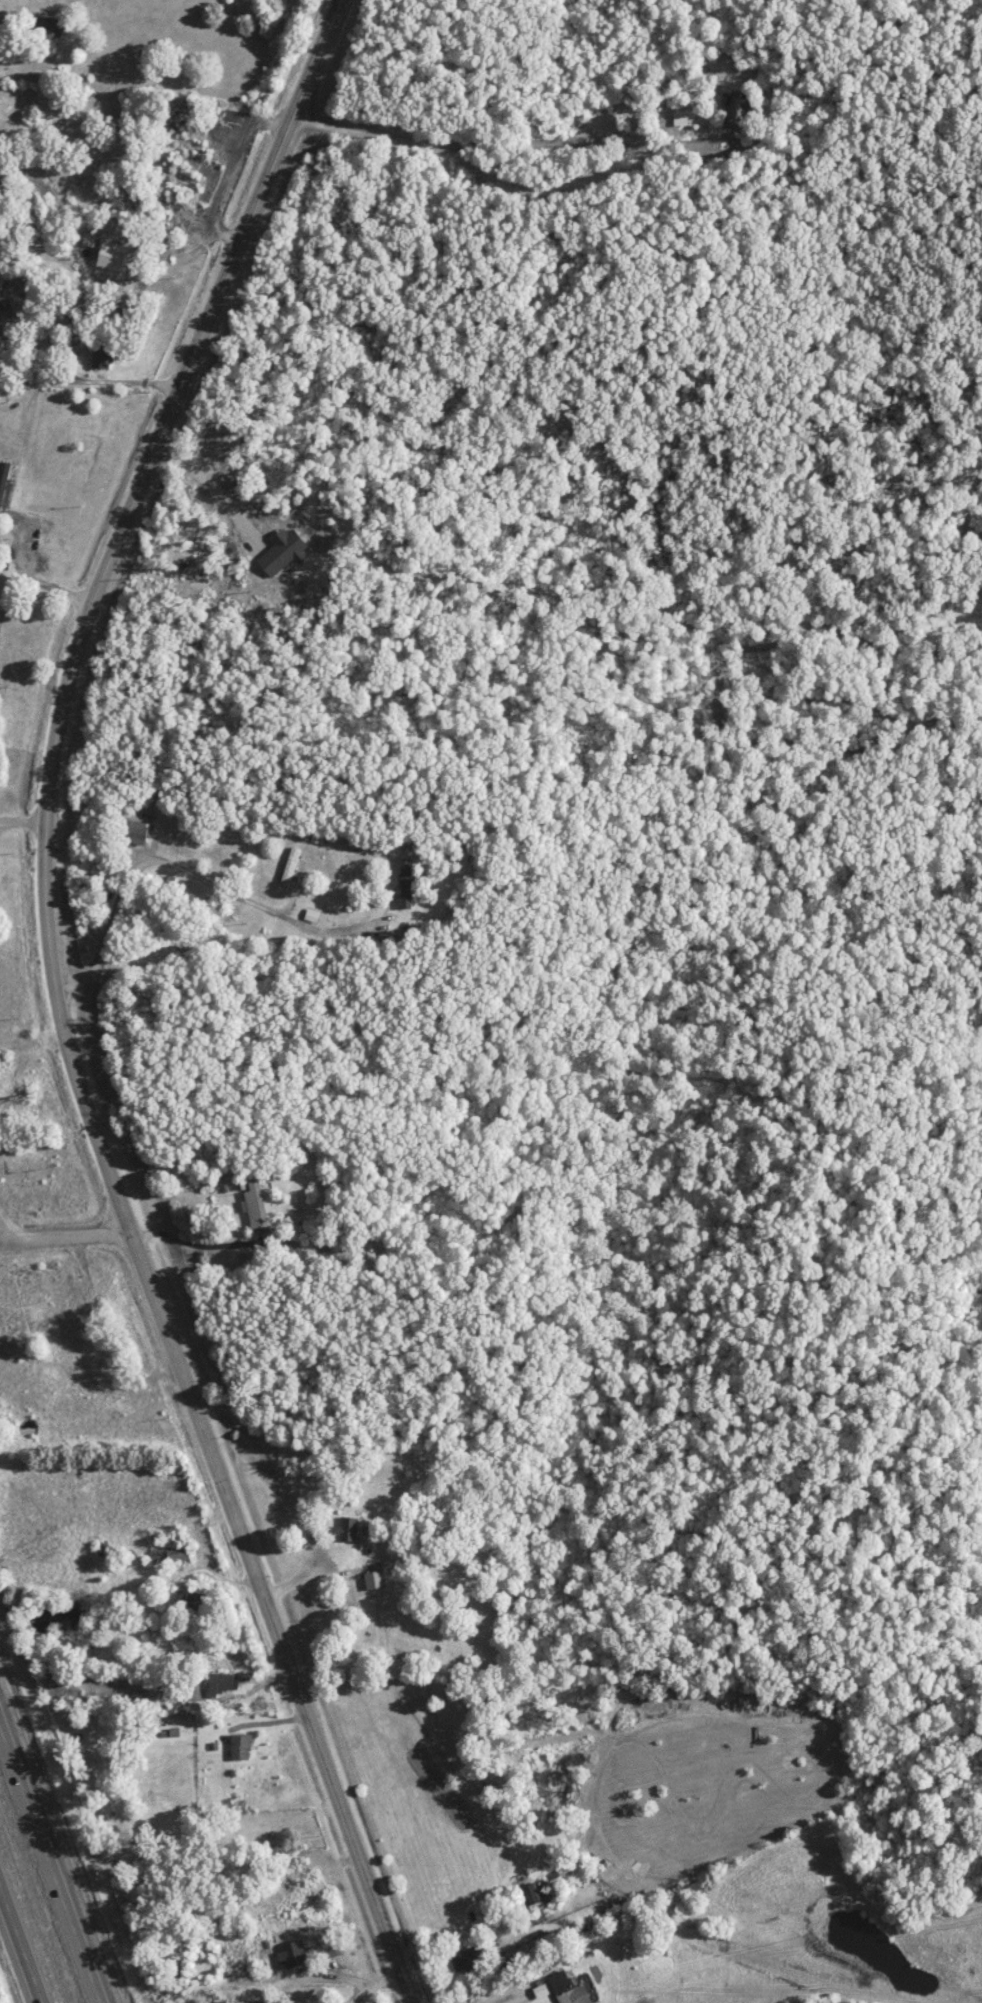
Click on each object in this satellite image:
building: (47, 26)
building: (681, 119)
building: (335, 222)
building: (104, 358)
road: (201, 484)
road: (39, 587)
building: (130, 833)
road: (173, 869)
building: (288, 871)
road: (56, 1004)
building: (253, 1204)
road: (55, 1228)
building: (346, 1529)
building: (168, 1555)
road: (307, 1577)
building: (372, 1580)
building: (221, 1686)
building: (239, 1747)
road: (52, 1856)
building: (532, 1897)
road: (19, 1948)
building: (291, 1955)
building: (463, 1962)
building: (566, 1990)
road: (518, 2000)

